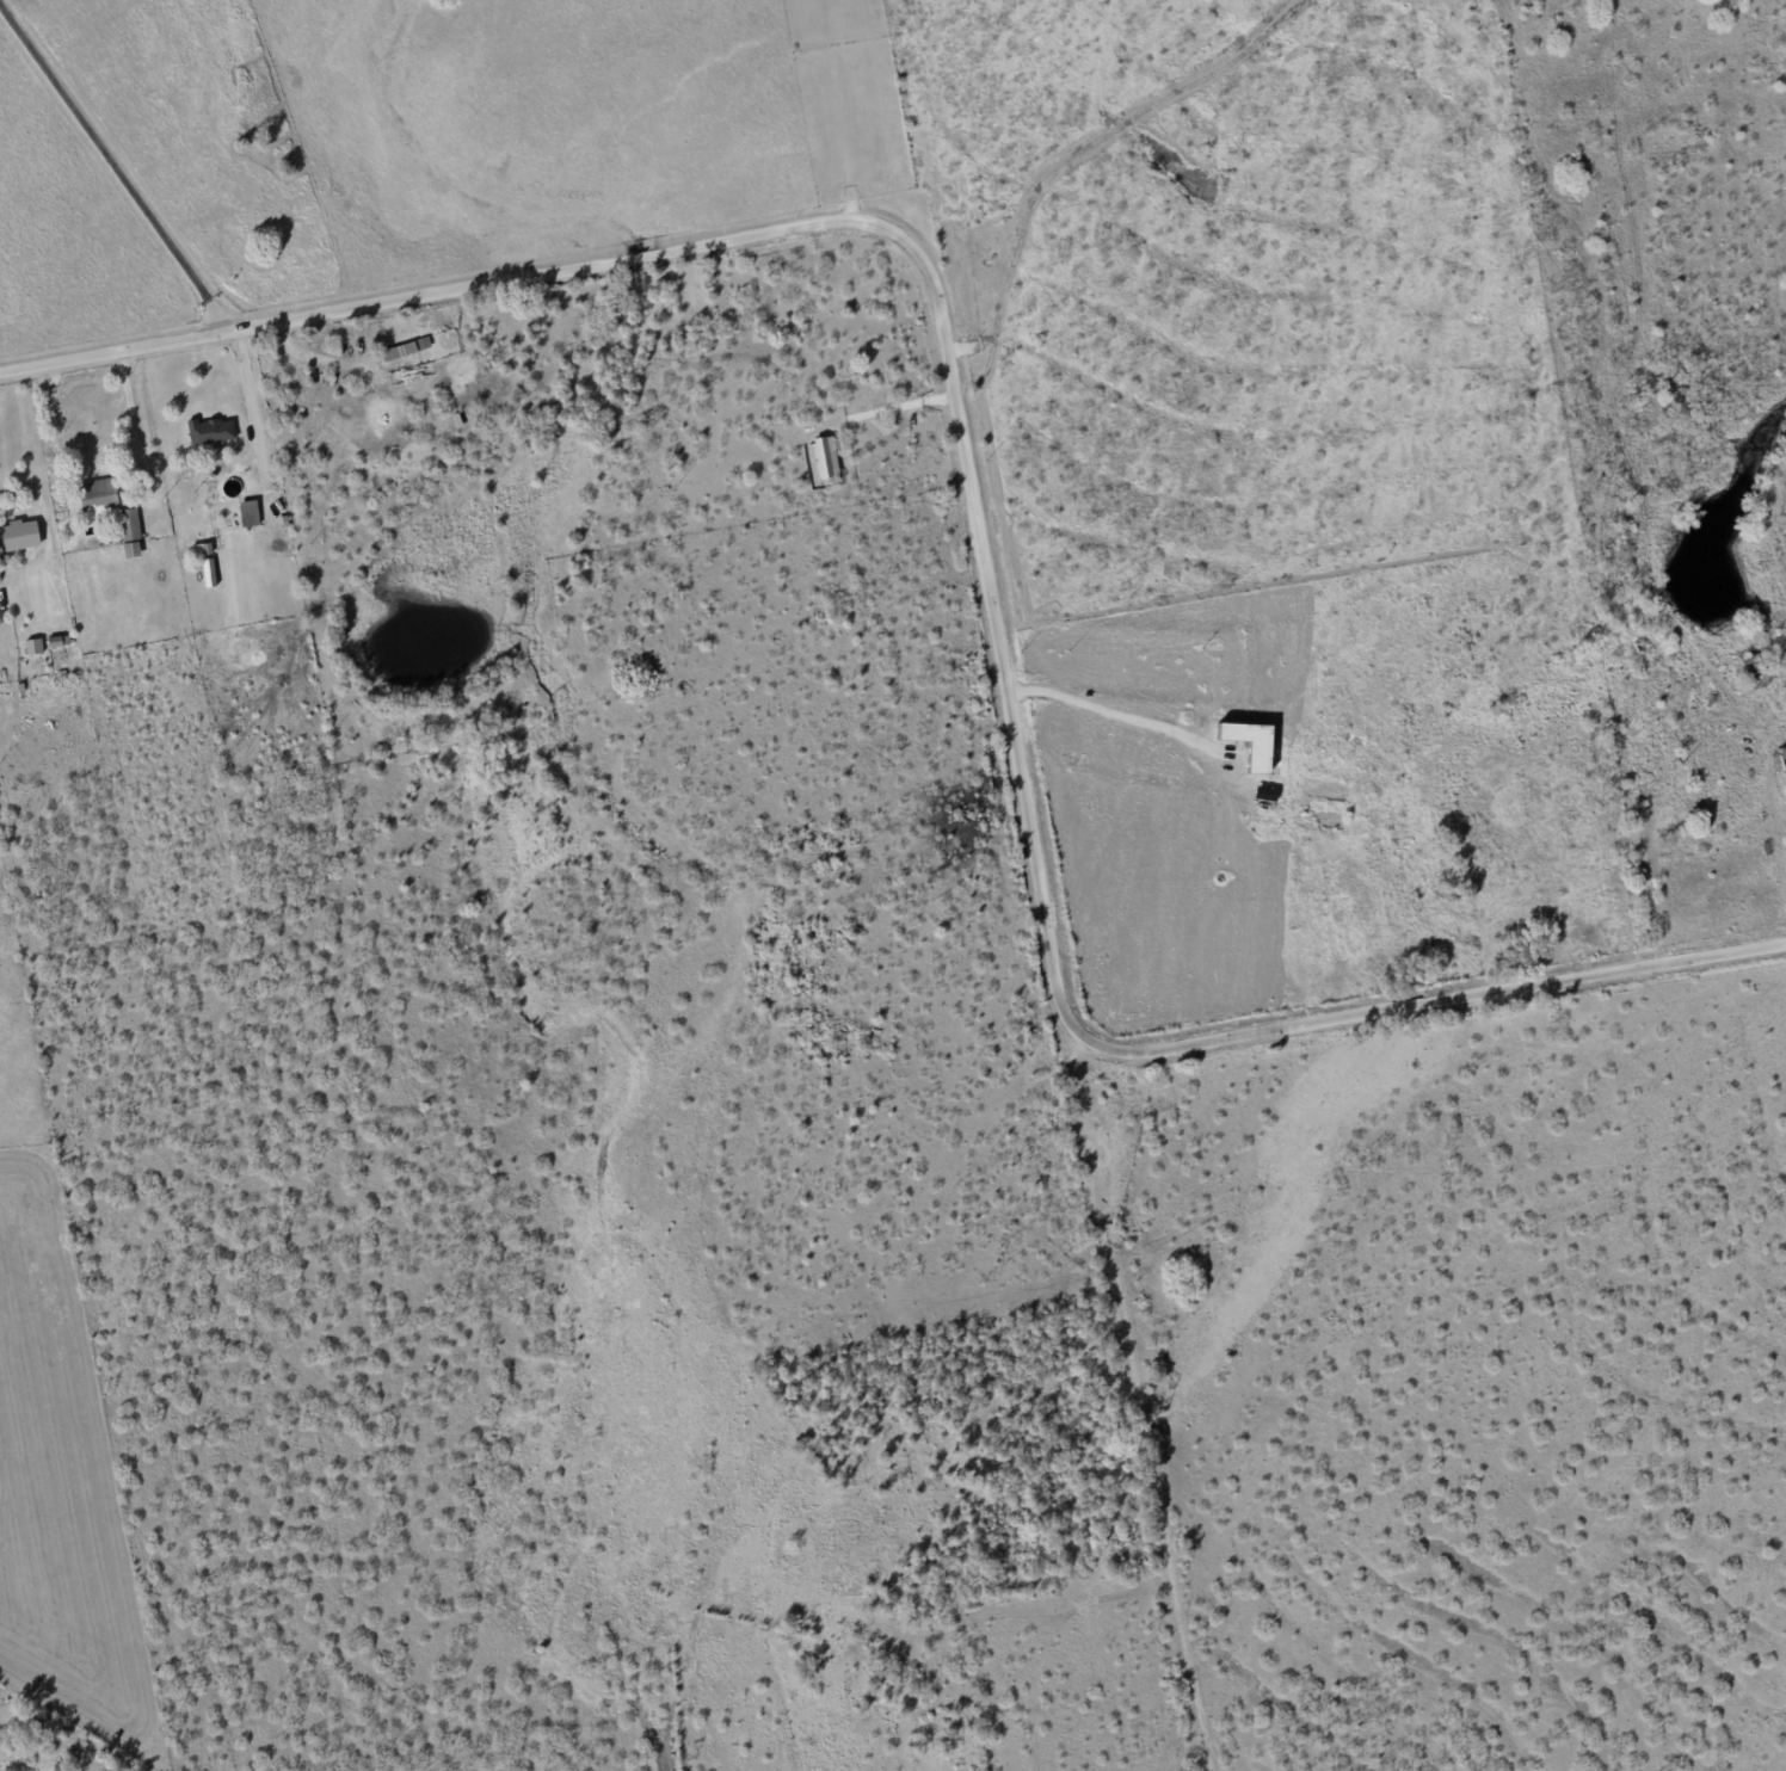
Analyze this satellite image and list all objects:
road: (112, 177)
building: (404, 348)
road: (886, 407)
road: (250, 409)
road: (134, 431)
building: (209, 431)
building: (824, 456)
building: (97, 498)
building: (246, 513)
building: (128, 524)
building: (17, 536)
road: (971, 539)
building: (129, 549)
building: (32, 646)
road: (1104, 718)
building: (1246, 743)
building: (1782, 759)
road: (1772, 832)

